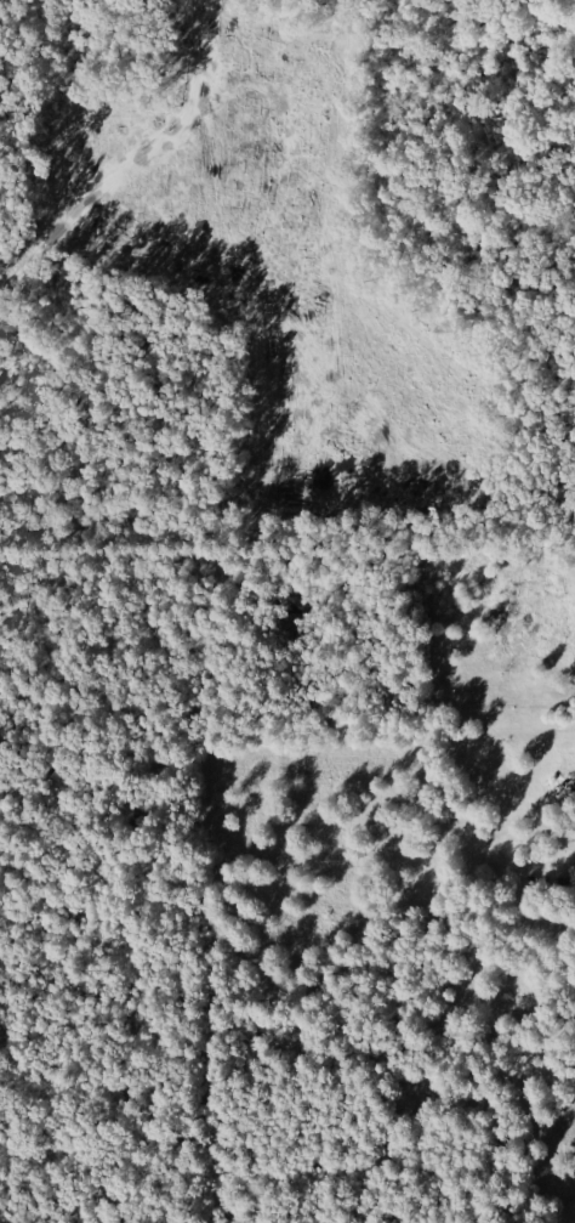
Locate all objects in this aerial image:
road: (19, 186)
road: (6, 376)
road: (138, 571)
building: (573, 876)

